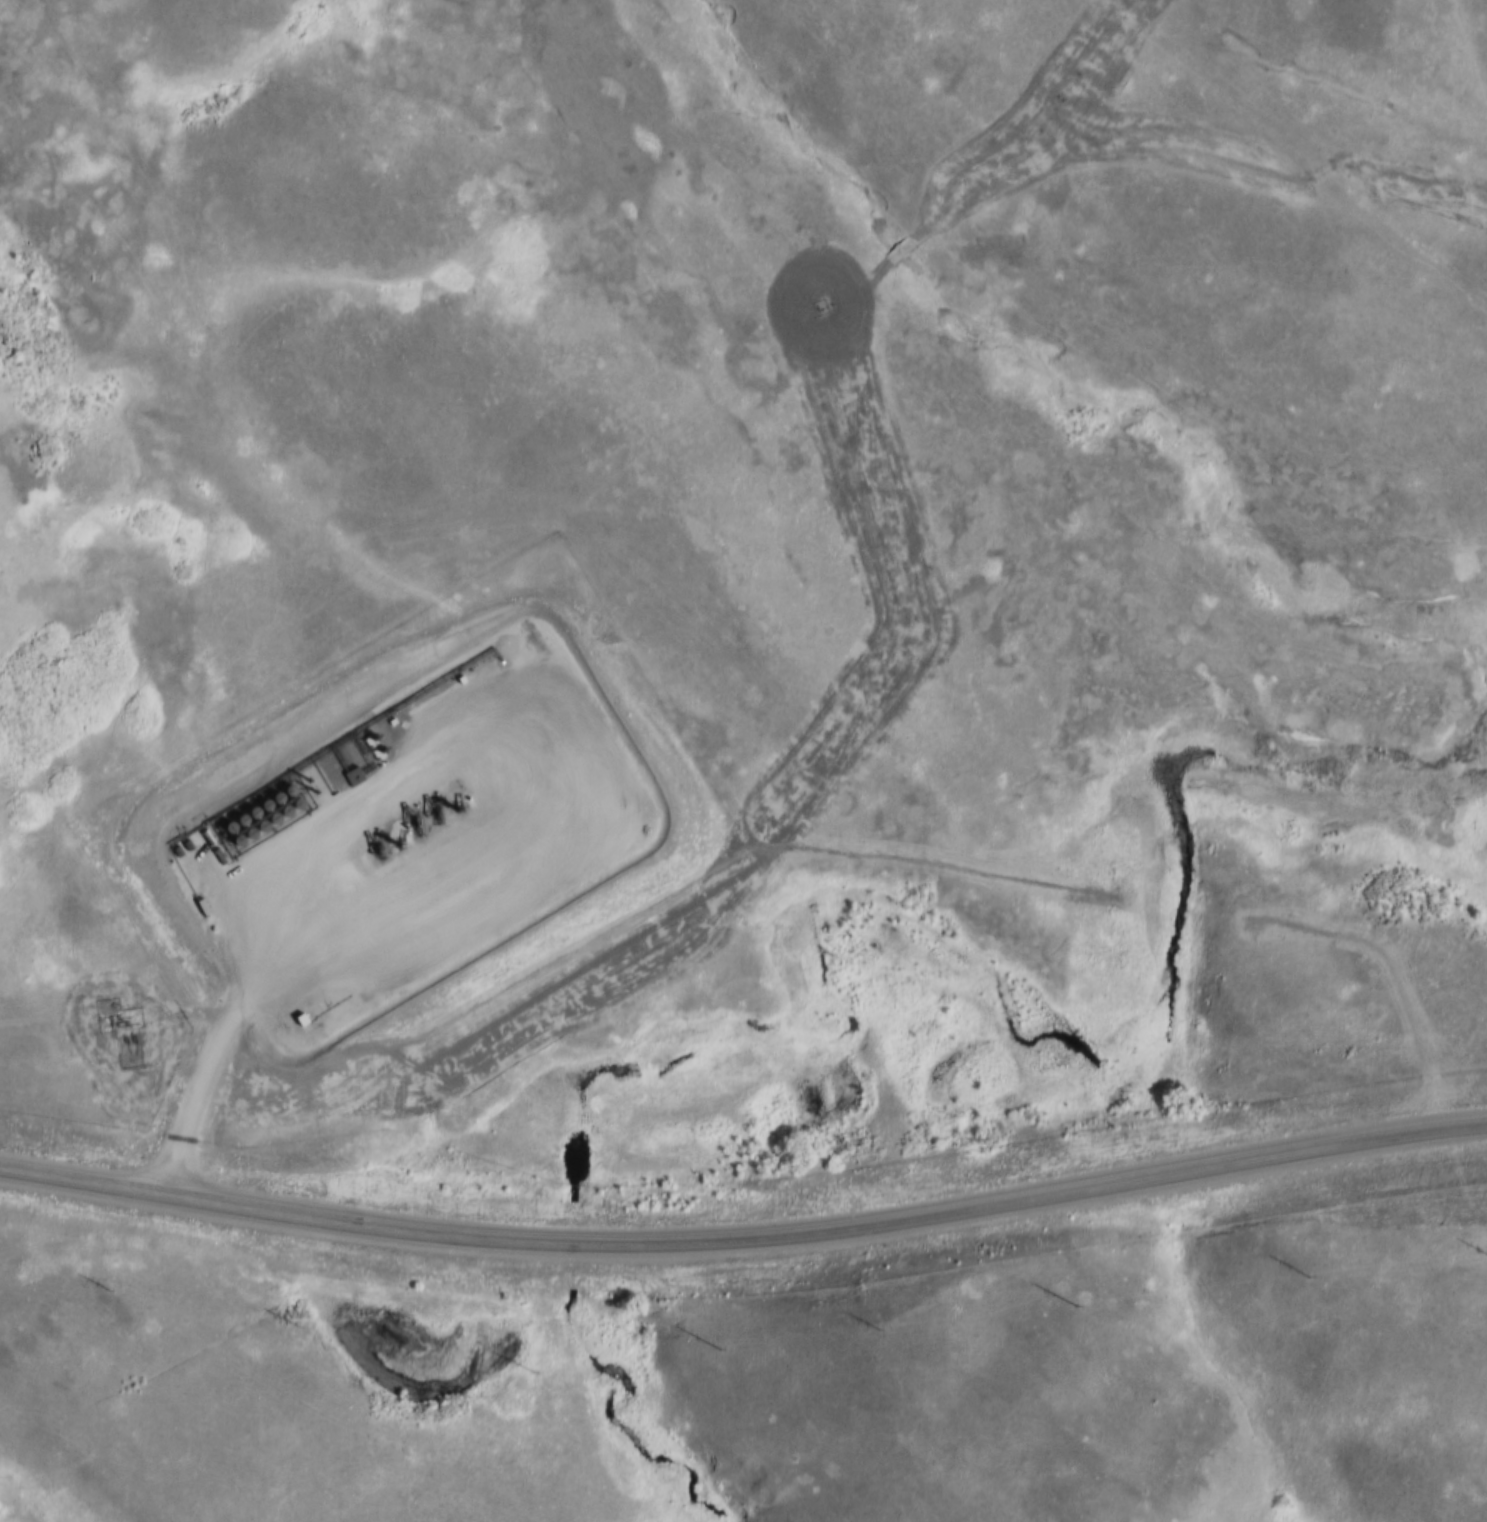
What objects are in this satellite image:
road: (448, 742)
building: (287, 795)
storage tank: (287, 795)
building: (275, 804)
storage tank: (275, 804)
building: (294, 810)
storage tank: (294, 810)
petroleum well: (432, 810)
building: (263, 811)
storage tank: (263, 811)
building: (251, 817)
storage tank: (251, 817)
building: (283, 817)
storage tank: (283, 817)
building: (238, 824)
storage tank: (238, 824)
building: (270, 824)
storage tank: (270, 824)
petroleum well: (414, 824)
building: (226, 831)
storage tank: (226, 831)
building: (259, 831)
storage tank: (259, 831)
petroleum well: (397, 835)
building: (247, 838)
storage tank: (247, 838)
building: (235, 846)
storage tank: (235, 846)
petroleum well: (374, 848)
road: (744, 1245)

